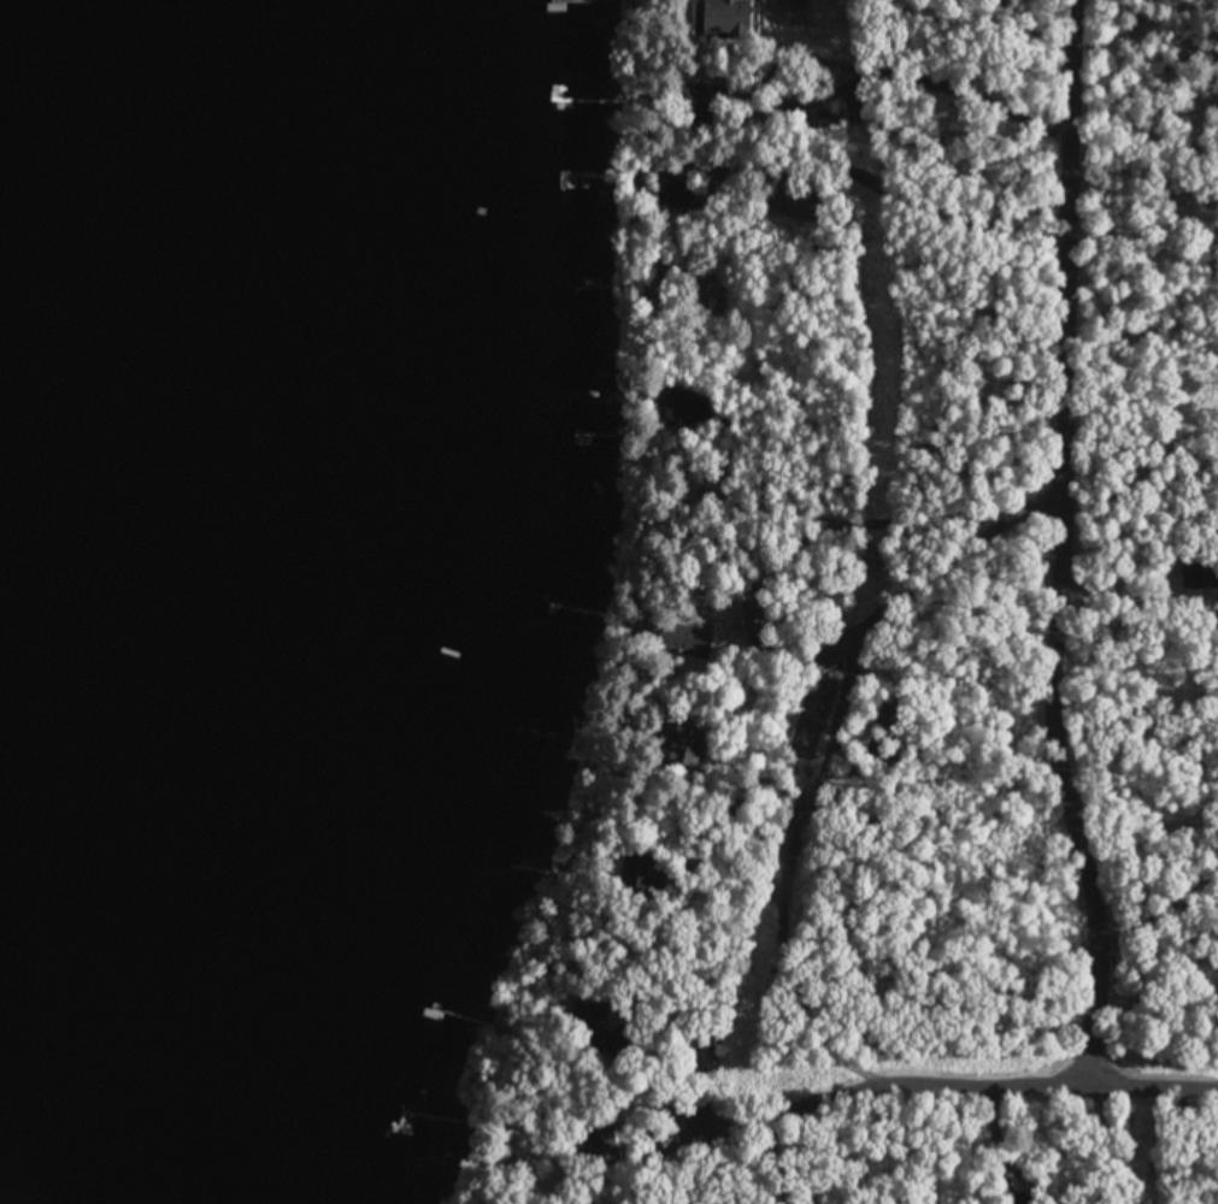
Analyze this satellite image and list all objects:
building: (716, 18)
road: (1036, 544)
road: (1054, 1011)
road: (988, 1072)
road: (1164, 1137)

